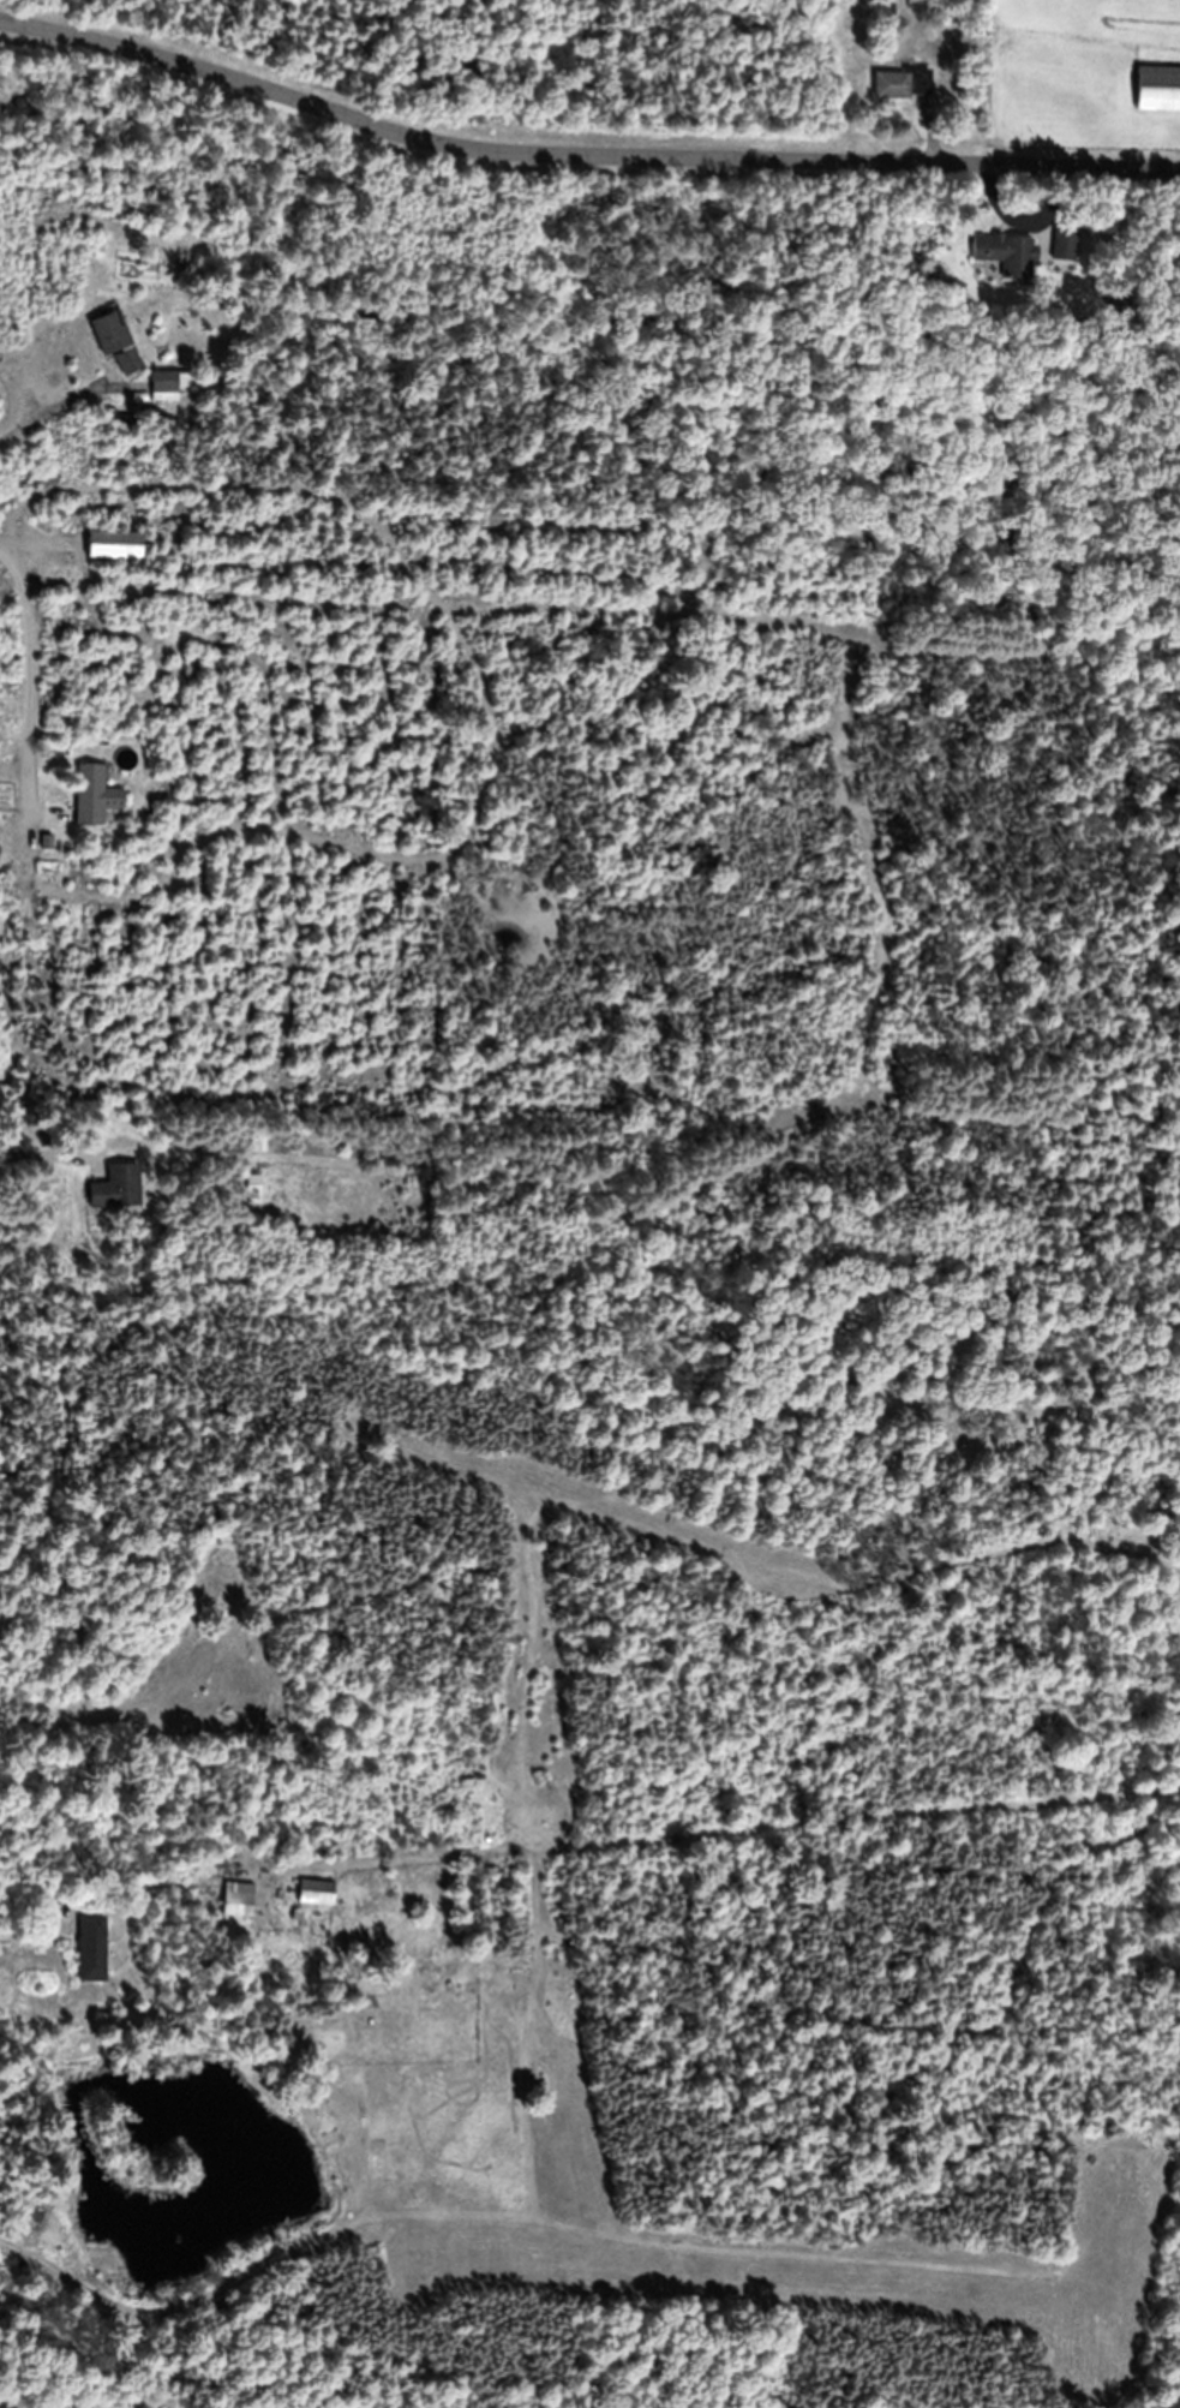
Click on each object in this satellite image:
building: (903, 83)
building: (1158, 89)
road: (586, 119)
building: (1007, 255)
building: (115, 342)
building: (168, 386)
building: (118, 422)
building: (114, 545)
building: (94, 795)
building: (116, 1189)
building: (252, 1189)
building: (247, 1826)
building: (146, 1877)
building: (316, 1893)
building: (238, 1899)
building: (91, 1948)

